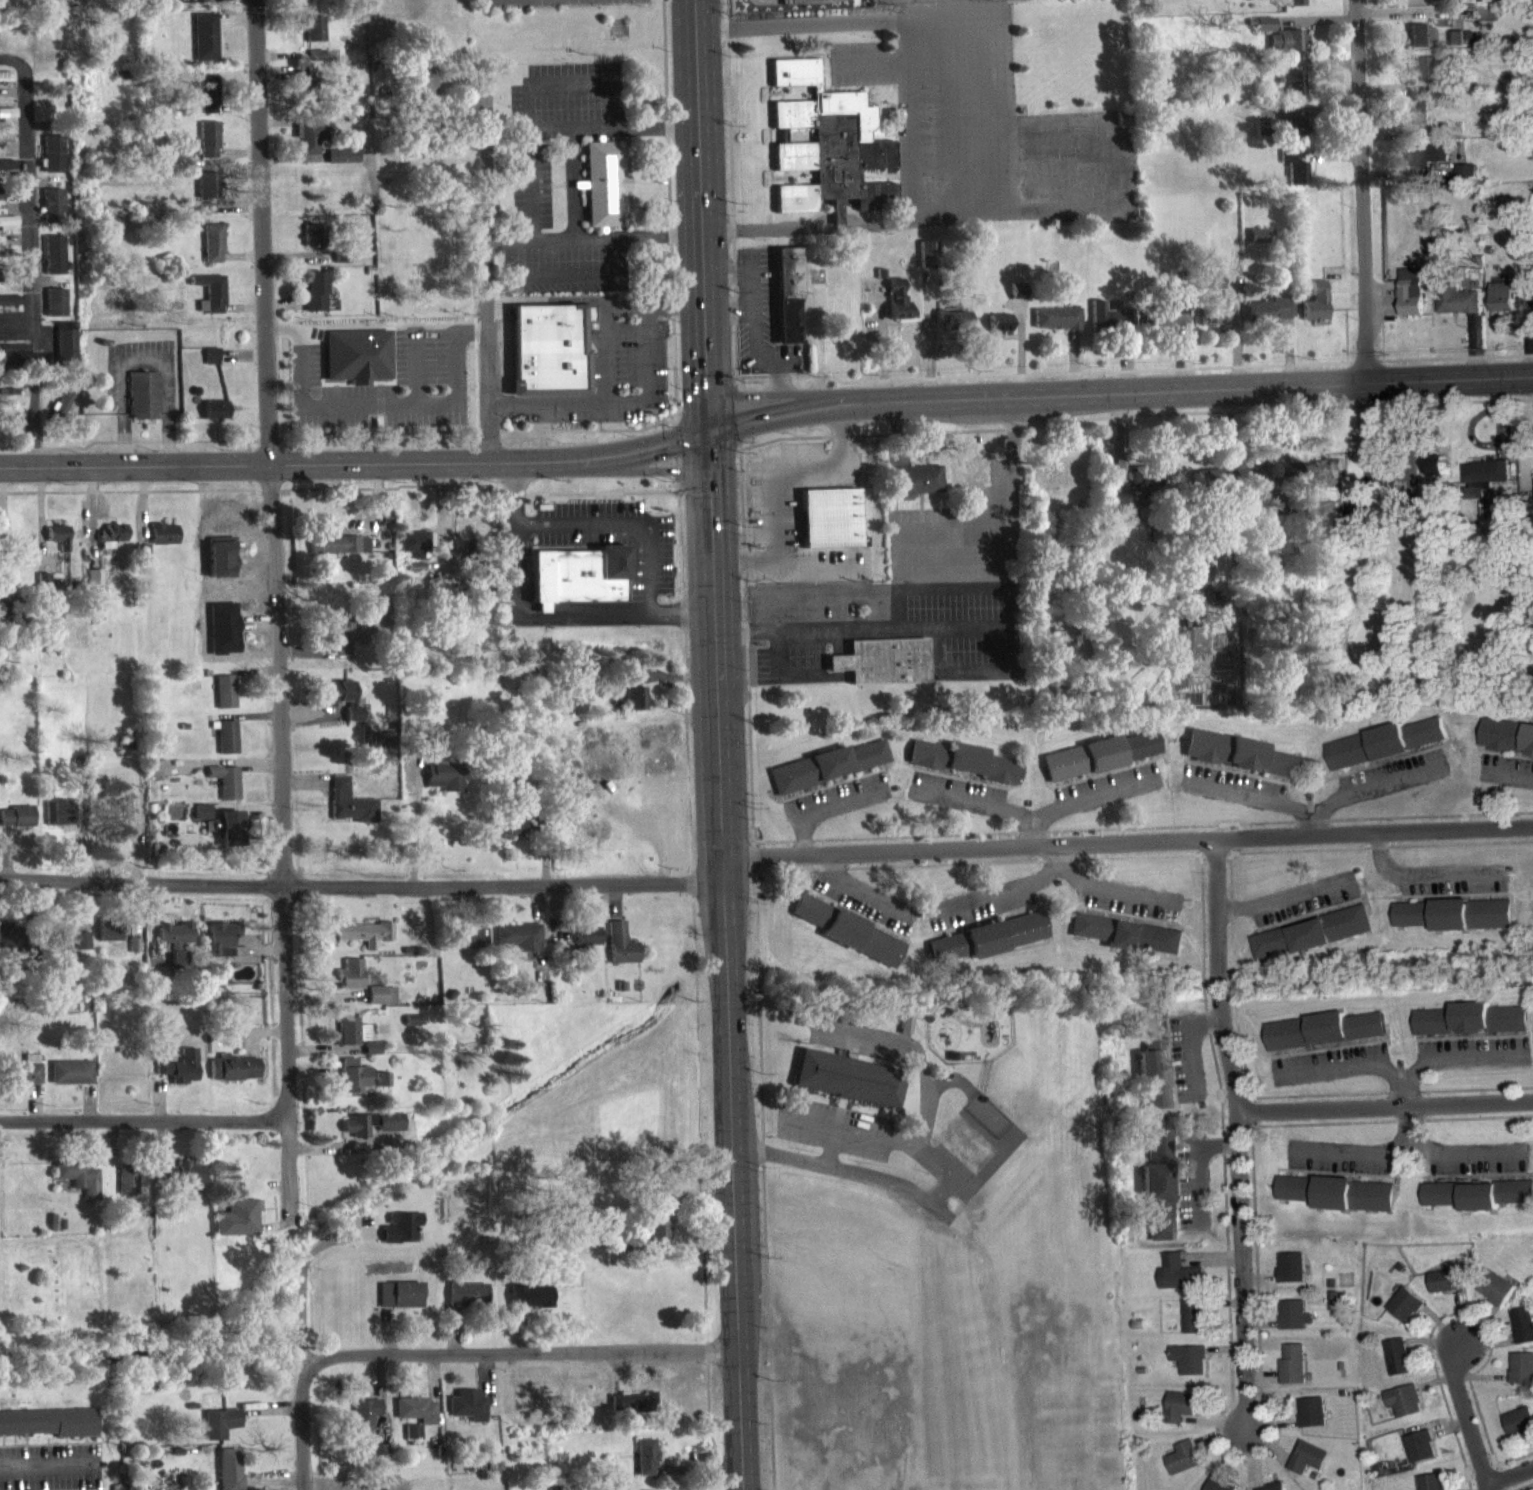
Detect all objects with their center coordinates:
building: (301, 1)
building: (198, 6)
road: (903, 7)
building: (1292, 7)
building: (1264, 33)
building: (312, 37)
building: (205, 45)
building: (1419, 45)
building: (1456, 47)
building: (1288, 49)
building: (315, 64)
building: (1424, 77)
building: (5, 85)
building: (423, 89)
building: (303, 92)
building: (1291, 93)
building: (206, 103)
road: (992, 111)
road: (906, 117)
building: (1419, 123)
building: (7, 127)
building: (1293, 139)
building: (5, 146)
building: (208, 148)
building: (311, 148)
building: (187, 154)
building: (834, 155)
building: (52, 163)
building: (1426, 164)
building: (343, 165)
building: (7, 173)
building: (1294, 176)
building: (1465, 181)
road: (1359, 190)
building: (207, 193)
building: (605, 193)
building: (793, 207)
building: (52, 214)
building: (204, 217)
building: (313, 244)
building: (1260, 245)
road: (35, 251)
building: (212, 252)
building: (53, 263)
building: (927, 263)
building: (1215, 291)
road: (486, 292)
building: (1525, 293)
road: (532, 298)
road: (593, 298)
building: (1016, 299)
building: (314, 300)
building: (1411, 301)
building: (209, 302)
building: (787, 305)
building: (1502, 306)
building: (10, 309)
building: (896, 309)
building: (1457, 309)
building: (55, 311)
building: (1314, 313)
building: (1269, 319)
building: (1172, 324)
building: (1211, 325)
building: (1056, 327)
building: (952, 329)
building: (997, 331)
building: (65, 351)
building: (547, 359)
building: (14, 364)
building: (356, 364)
building: (211, 365)
road: (605, 366)
road: (789, 393)
building: (143, 404)
road: (376, 404)
road: (765, 417)
building: (214, 419)
traffic signals: (708, 431)
road: (140, 439)
road: (248, 462)
road: (618, 469)
road: (775, 472)
building: (1437, 476)
building: (1328, 478)
building: (1056, 484)
building: (1485, 485)
building: (1145, 487)
building: (918, 488)
road: (148, 489)
building: (1121, 511)
building: (1329, 524)
building: (829, 527)
road: (989, 527)
road: (272, 541)
building: (163, 543)
building: (110, 544)
building: (58, 545)
building: (339, 553)
building: (417, 554)
road: (1009, 555)
building: (577, 584)
road: (953, 585)
building: (93, 586)
road: (541, 615)
building: (4, 618)
road: (939, 624)
building: (341, 643)
building: (882, 670)
road: (784, 671)
building: (224, 700)
building: (633, 703)
building: (342, 708)
road: (722, 744)
building: (1507, 745)
building: (226, 746)
building: (1384, 752)
building: (124, 757)
building: (1239, 763)
building: (926, 764)
building: (1099, 764)
building: (979, 773)
road: (1520, 773)
building: (826, 775)
building: (156, 777)
building: (443, 785)
building: (225, 790)
road: (1313, 810)
building: (121, 815)
building: (58, 821)
building: (201, 821)
road: (1313, 823)
building: (16, 825)
building: (517, 834)
building: (229, 838)
road: (1128, 842)
road: (1420, 873)
road: (364, 887)
road: (1285, 896)
building: (810, 919)
building: (1455, 924)
building: (108, 941)
building: (364, 941)
building: (1312, 943)
building: (6, 944)
building: (1126, 944)
building: (586, 945)
building: (464, 946)
building: (518, 946)
building: (219, 947)
building: (988, 947)
building: (862, 948)
building: (70, 950)
building: (175, 952)
building: (619, 953)
building: (350, 983)
building: (381, 1004)
building: (1471, 1029)
building: (904, 1034)
building: (351, 1040)
building: (1325, 1040)
road: (1192, 1042)
building: (372, 1057)
road: (912, 1059)
building: (1151, 1071)
road: (1401, 1075)
building: (178, 1076)
building: (852, 1077)
building: (232, 1078)
building: (25, 1080)
building: (70, 1081)
building: (353, 1085)
road: (1388, 1106)
road: (165, 1121)
road: (810, 1131)
building: (372, 1132)
road: (1244, 1132)
road: (1353, 1149)
road: (1429, 1149)
building: (1157, 1153)
road: (911, 1154)
road: (830, 1156)
road: (1190, 1156)
road: (293, 1171)
road: (833, 1178)
building: (179, 1182)
building: (77, 1186)
building: (126, 1188)
building: (1337, 1203)
building: (1494, 1204)
building: (1157, 1208)
building: (237, 1227)
building: (399, 1236)
building: (656, 1238)
building: (1290, 1277)
building: (1179, 1284)
building: (1447, 1290)
building: (1496, 1298)
road: (299, 1302)
building: (400, 1304)
building: (467, 1304)
building: (531, 1305)
building: (1404, 1315)
building: (1294, 1324)
building: (1193, 1326)
building: (1523, 1334)
road: (514, 1364)
building: (1397, 1367)
building: (1189, 1369)
building: (1292, 1374)
building: (1521, 1378)
building: (1403, 1411)
building: (632, 1412)
building: (468, 1414)
building: (1180, 1416)
building: (416, 1419)
building: (365, 1422)
building: (1312, 1422)
road: (1467, 1422)
building: (48, 1431)
building: (1519, 1431)
building: (220, 1432)
building: (412, 1440)
road: (300, 1442)
building: (1420, 1456)
road: (51, 1462)
building: (379, 1463)
building: (645, 1466)
building: (1307, 1467)
building: (1182, 1468)
road: (1508, 1472)
building: (229, 1473)
building: (1431, 1487)
building: (1213, 1488)

